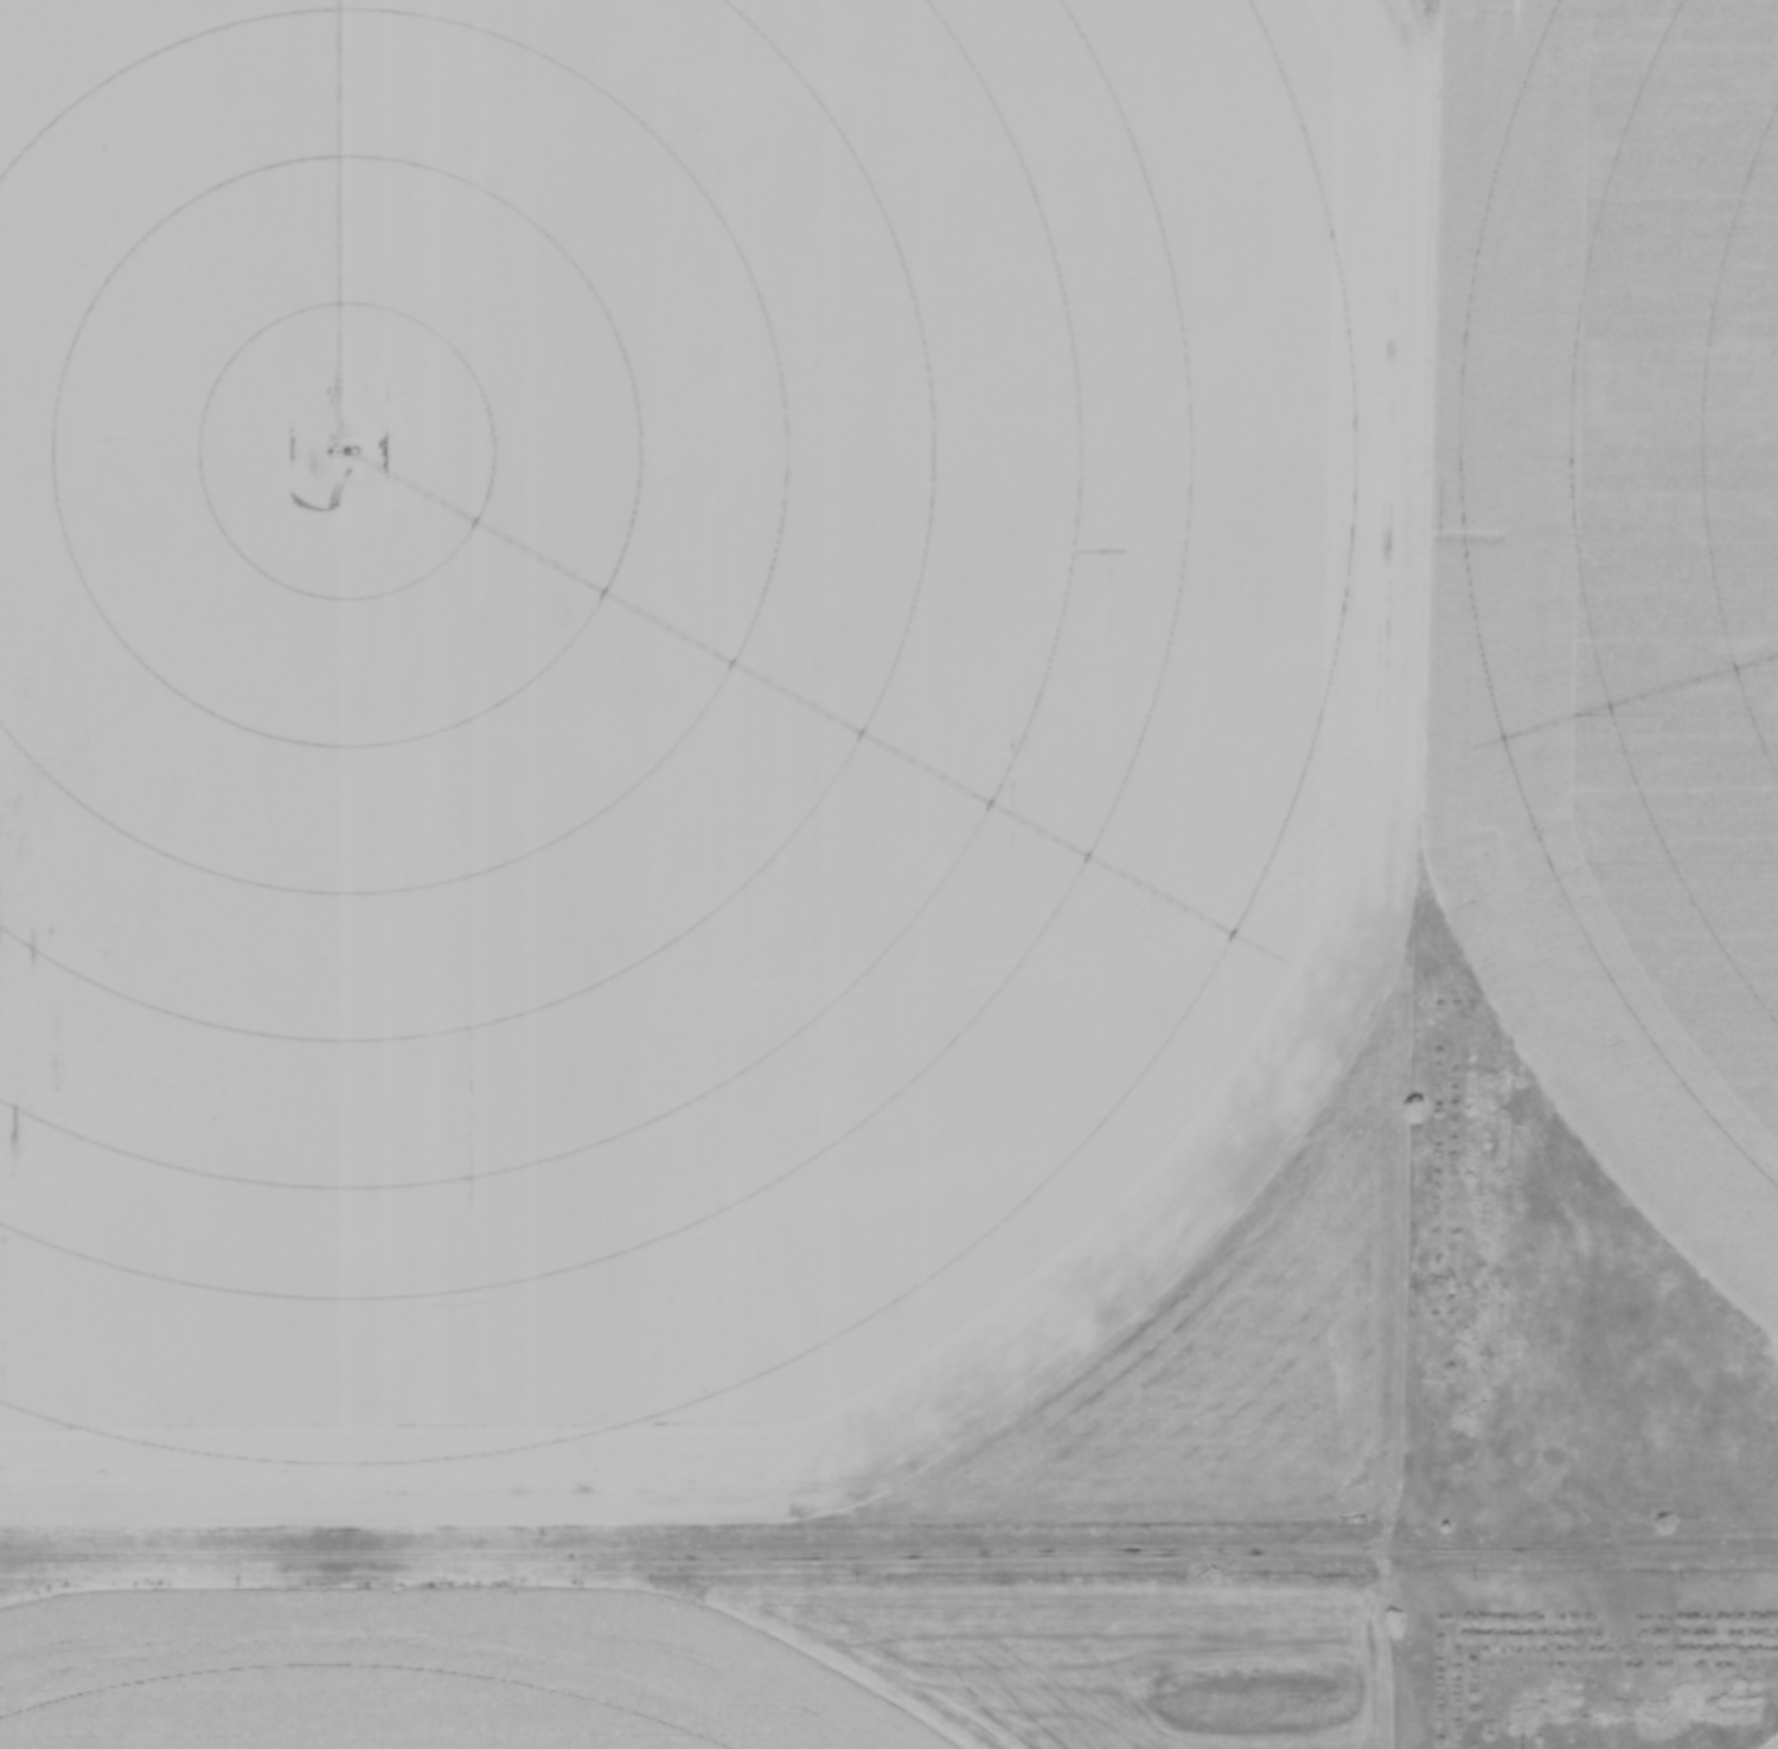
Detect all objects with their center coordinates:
road: (888, 1561)

